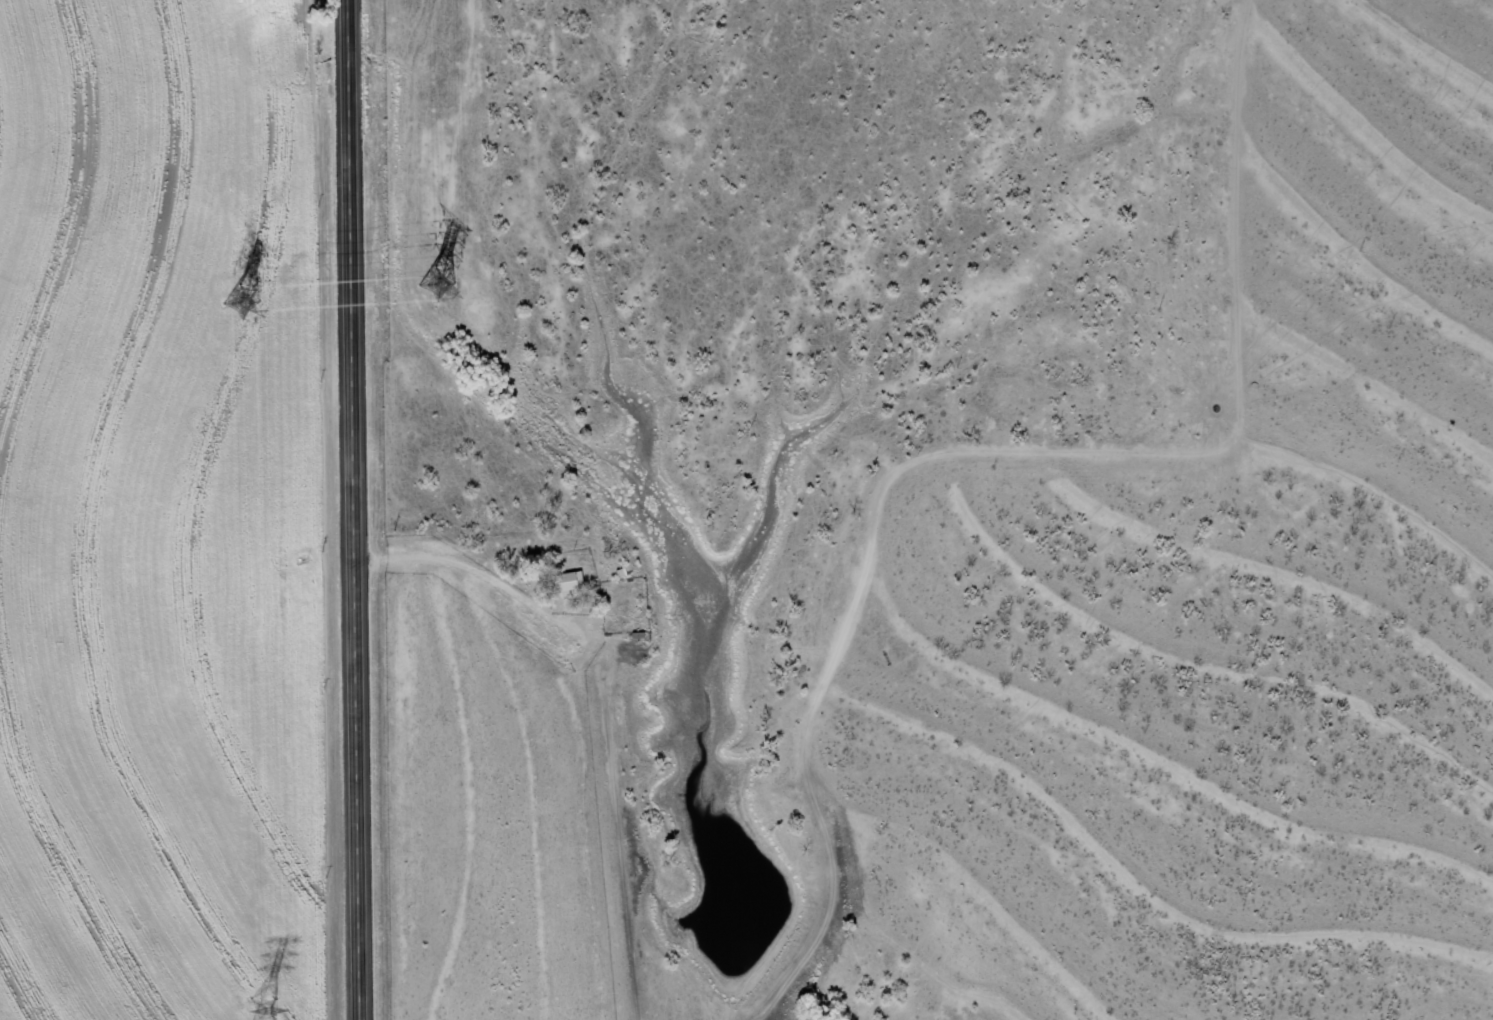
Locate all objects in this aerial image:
power tower: (434, 285)
power tower: (238, 303)
road: (356, 510)
power tower: (260, 1011)

